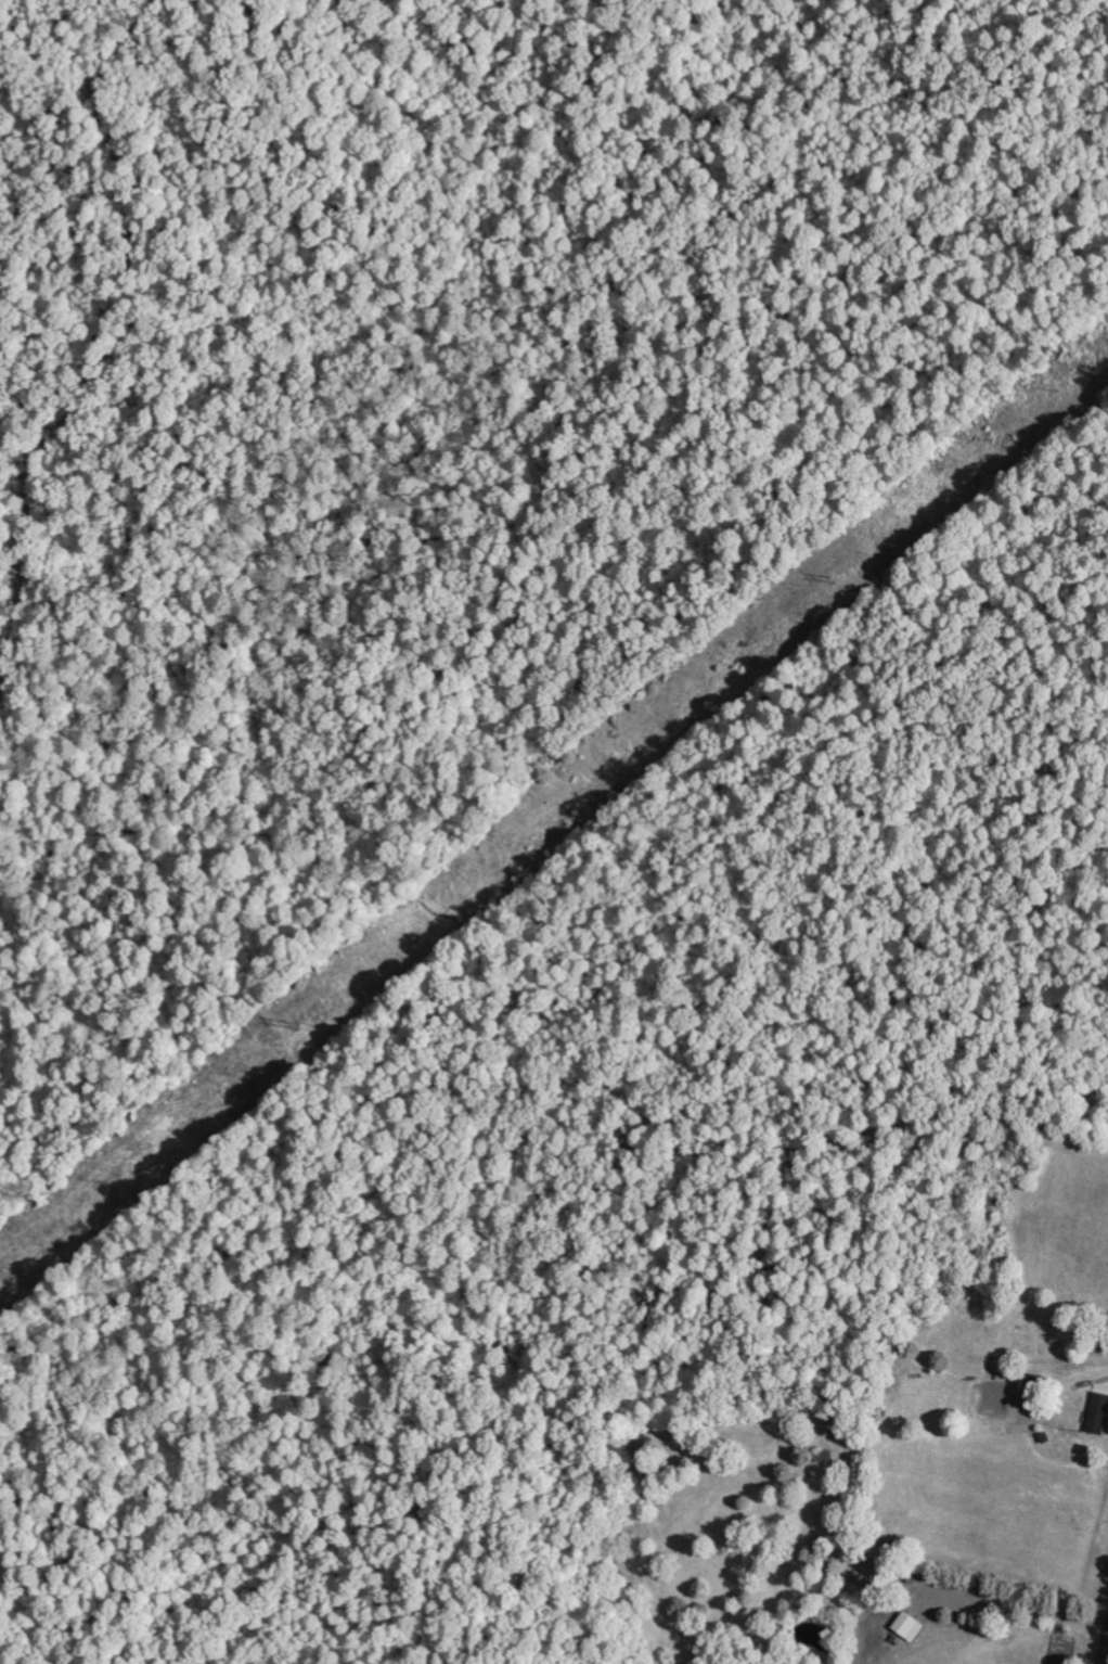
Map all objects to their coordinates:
building: (1026, 1383)
building: (1097, 1413)
building: (906, 1627)
road: (1104, 1648)

